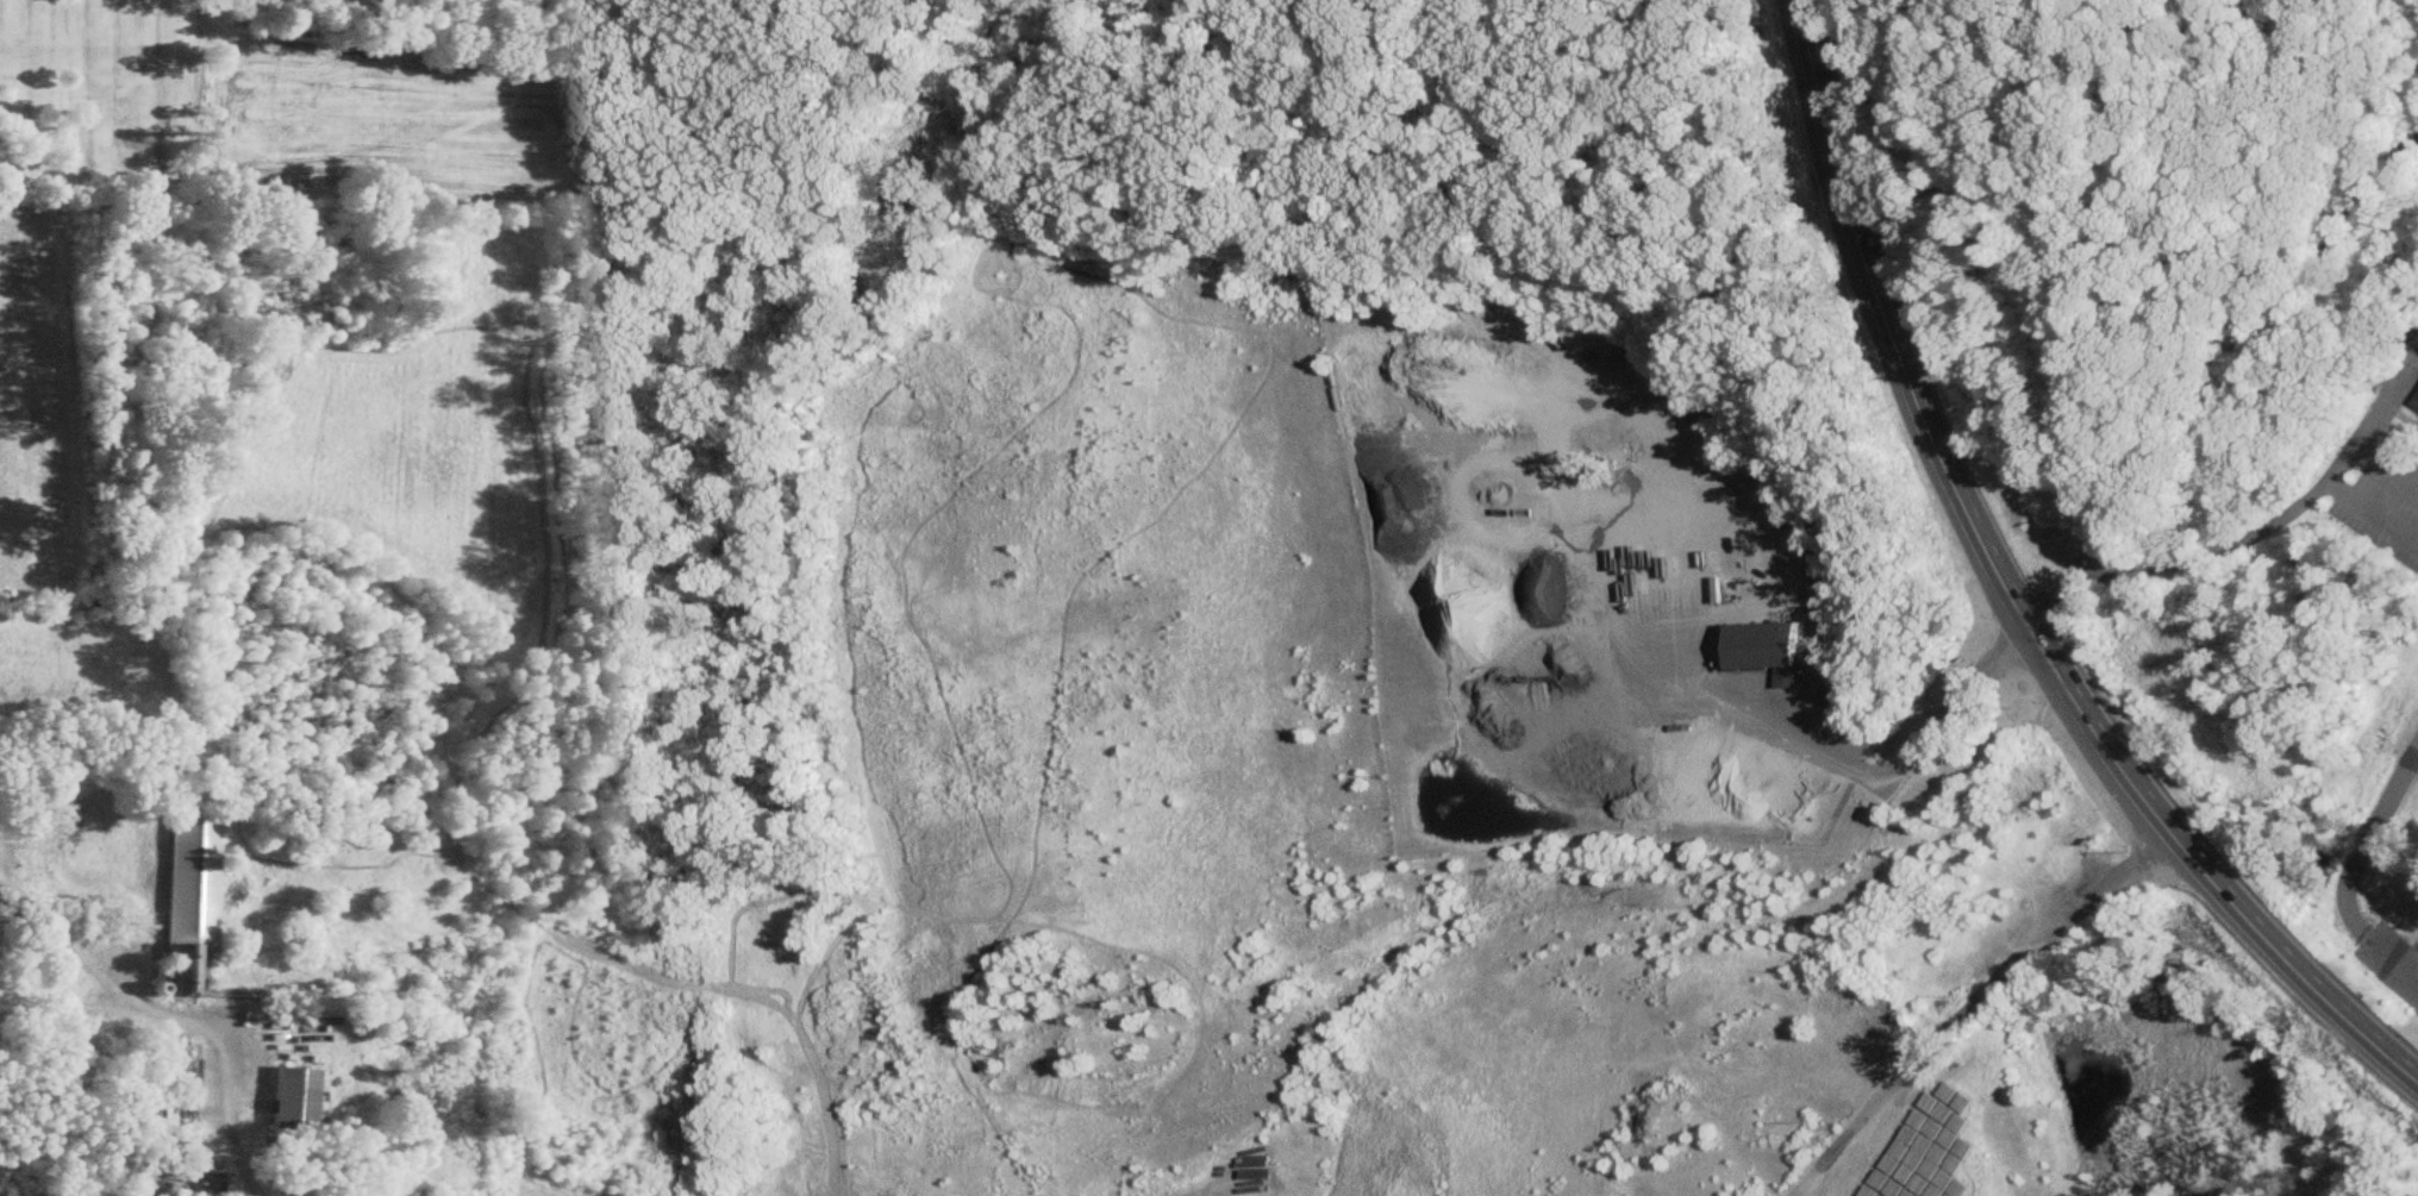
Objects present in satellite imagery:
road: (2107, 255)
road: (2254, 363)
building: (2414, 403)
park: (2180, 405)
road: (2389, 462)
parking lot: (2386, 502)
road: (2374, 511)
road: (2251, 539)
road: (2012, 593)
building: (1745, 647)
road: (1877, 775)
road: (2350, 873)
building: (188, 898)
road: (2416, 947)
parking lot: (2391, 962)
road: (1975, 1002)
road: (189, 1022)
building: (181, 1075)
building: (289, 1104)

